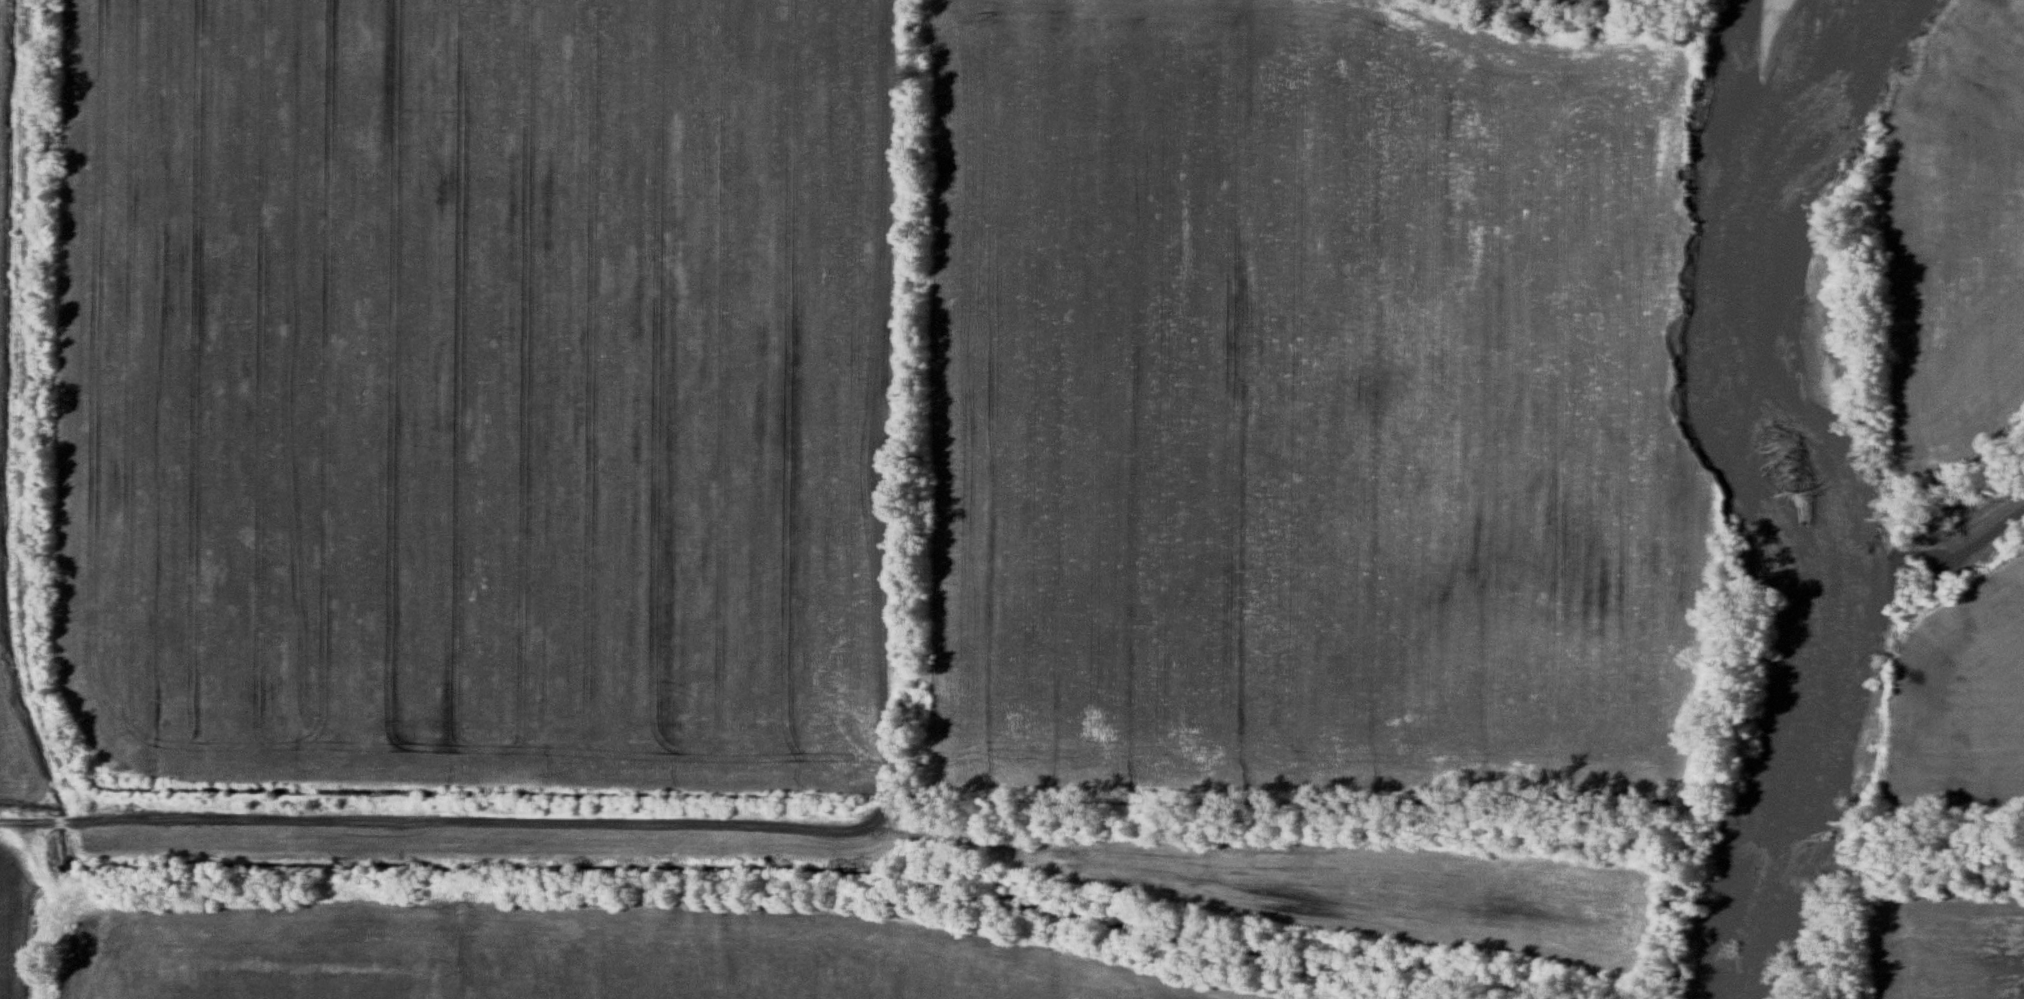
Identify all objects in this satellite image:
river: (1808, 501)
river: (1901, 568)
road: (501, 816)

